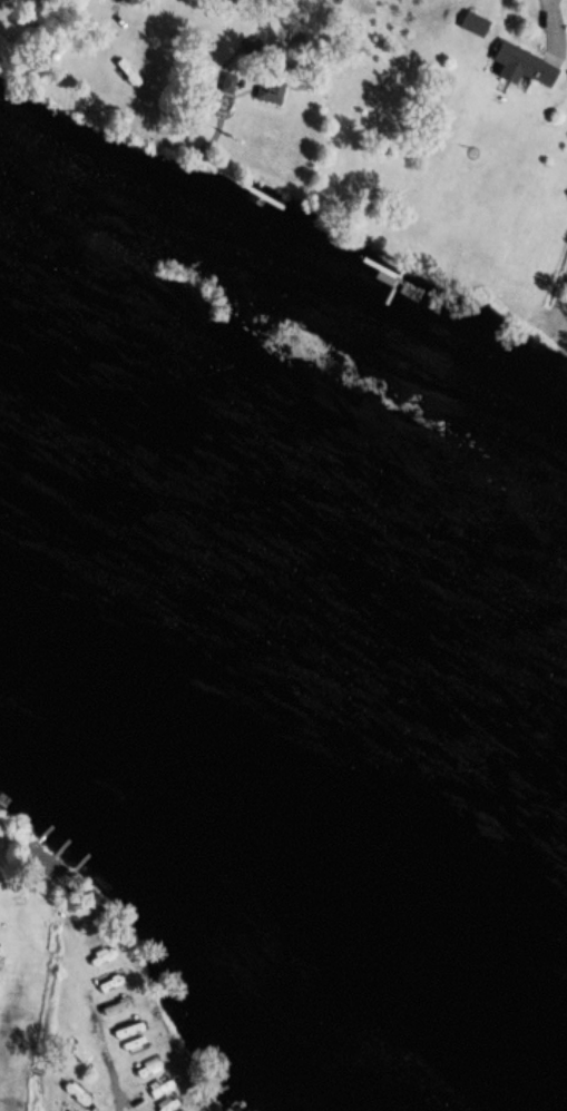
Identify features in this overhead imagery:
building: (472, 22)
building: (519, 65)
river: (290, 572)
building: (81, 1052)
building: (160, 1088)
building: (168, 1104)
building: (180, 1110)

